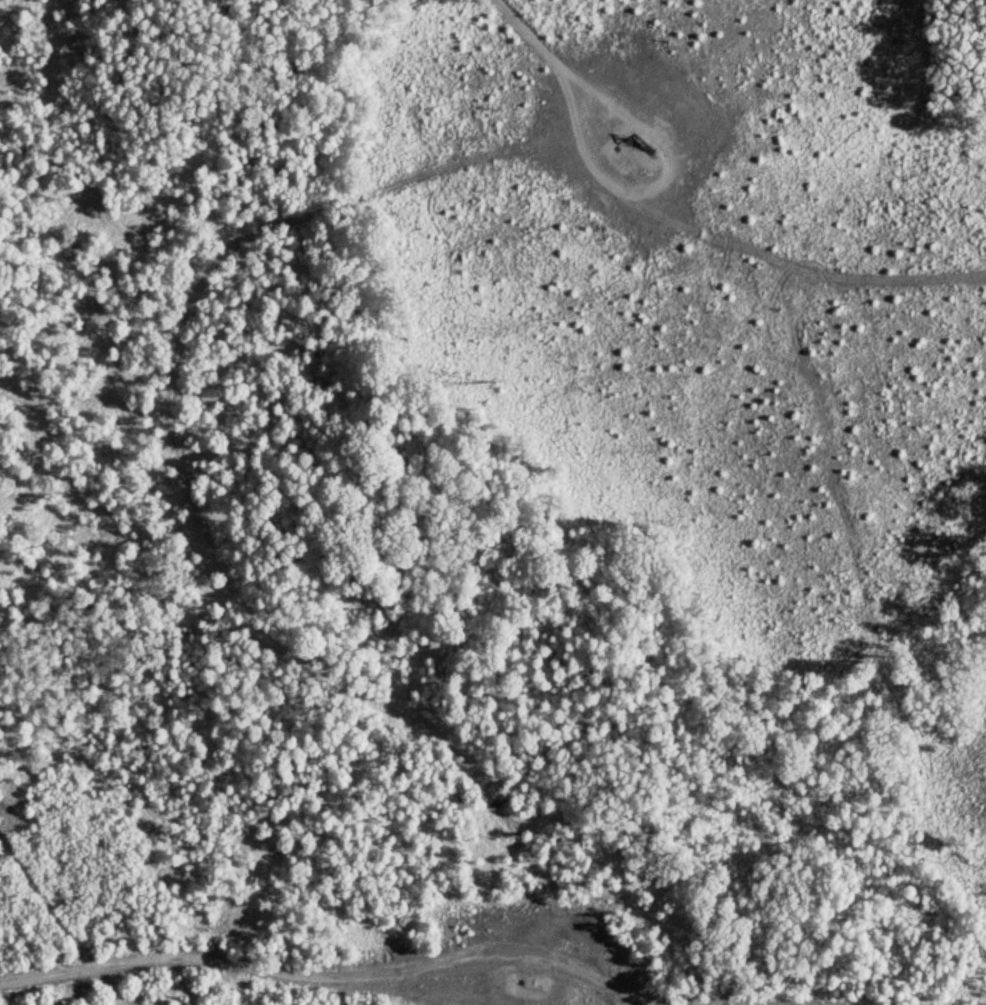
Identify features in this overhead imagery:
road: (550, 60)
petroleum well: (639, 142)
road: (241, 967)
petroleum well: (526, 979)

